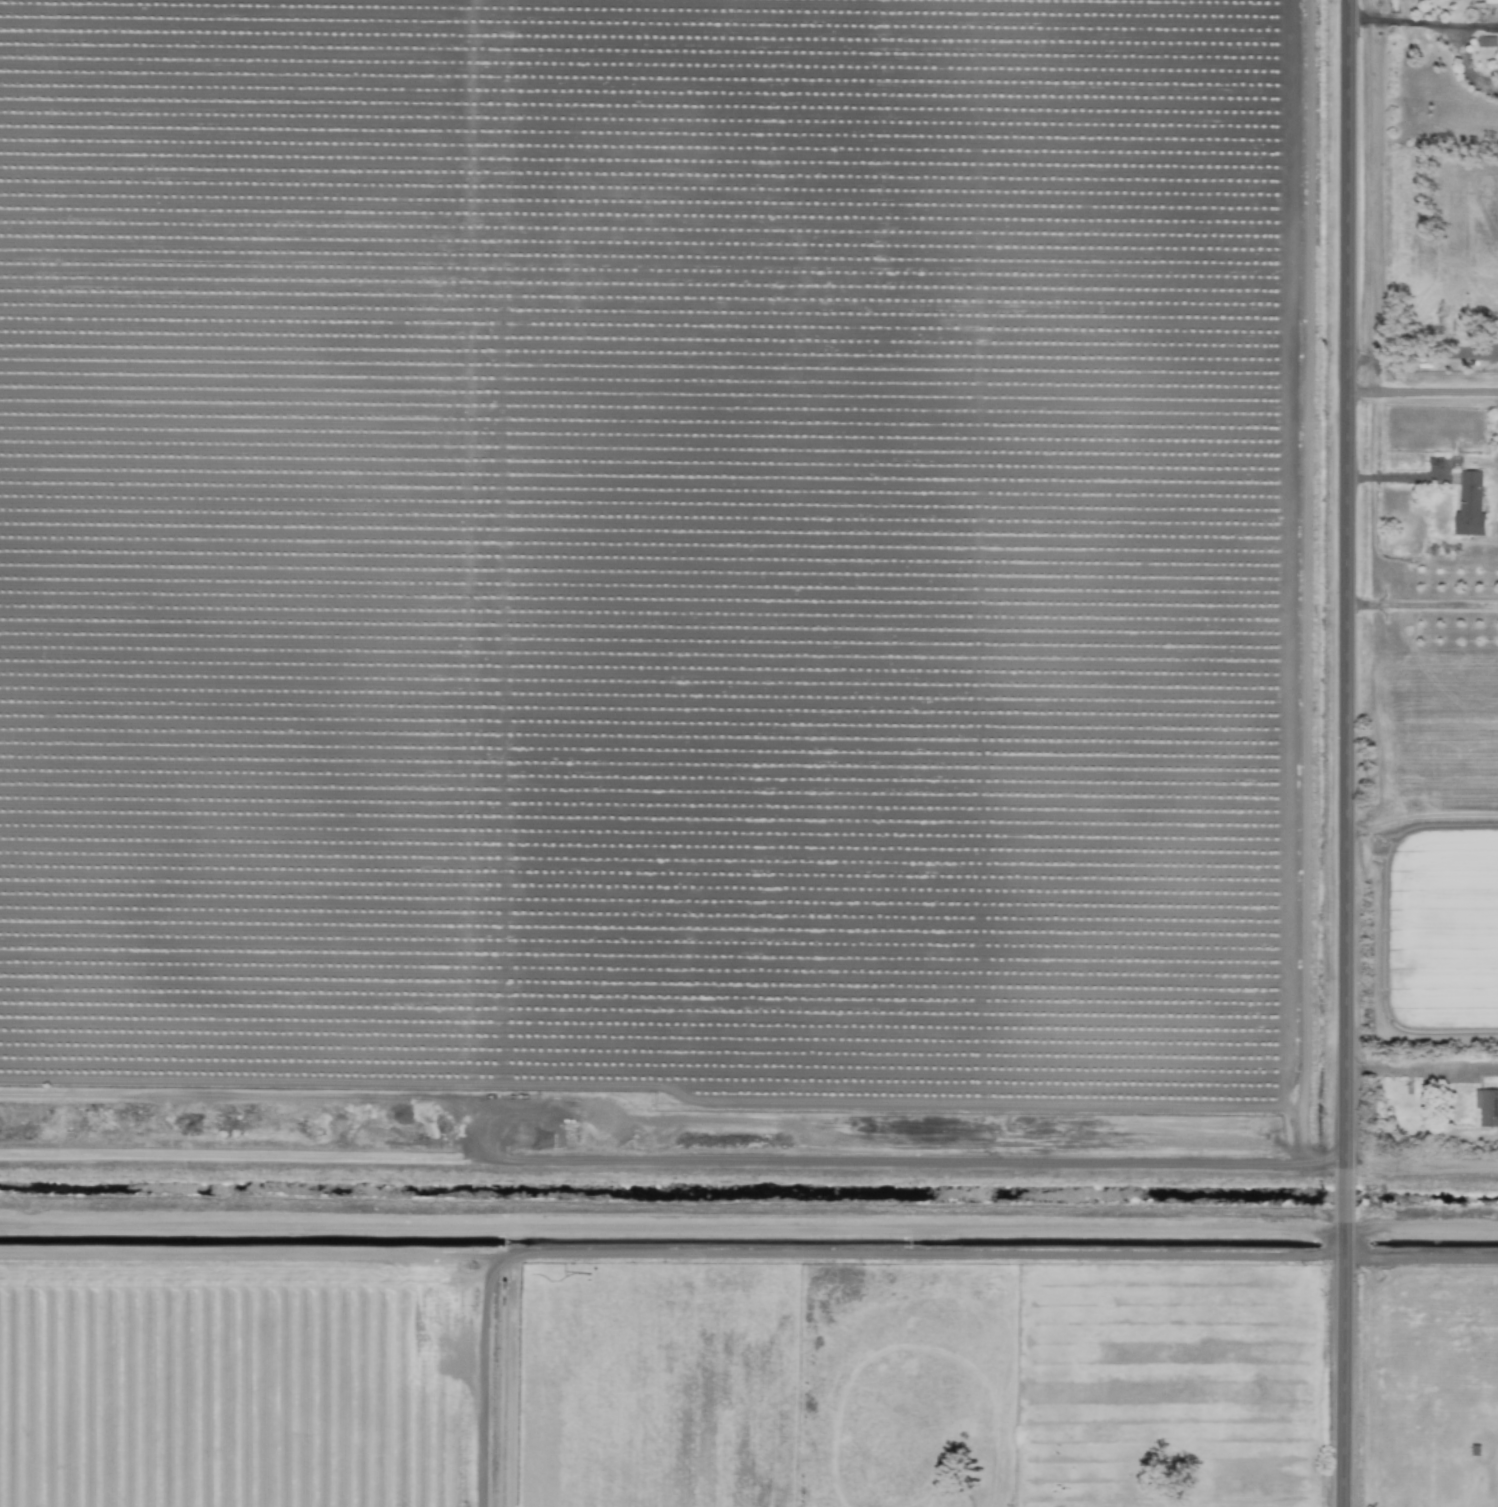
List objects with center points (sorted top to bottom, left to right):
building: (1490, 0)
road: (1419, 22)
building: (1485, 41)
road: (1419, 359)
road: (1419, 391)
road: (1403, 477)
building: (1469, 504)
road: (1341, 582)
road: (1419, 604)
road: (1418, 1073)
building: (1487, 1107)
road: (655, 1110)
road: (752, 1160)
road: (1337, 1192)
road: (749, 1234)
road: (794, 1254)
road: (257, 1255)
road: (1418, 1255)
road: (1337, 1363)
road: (510, 1382)

